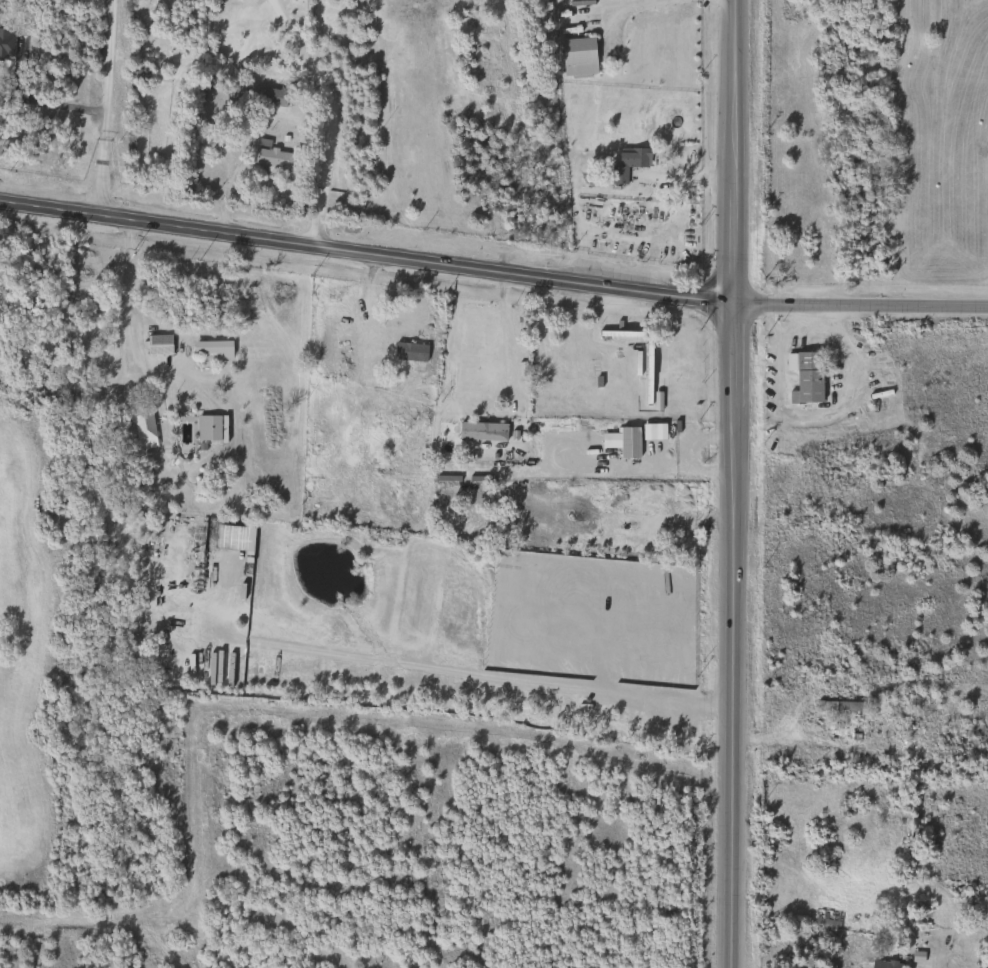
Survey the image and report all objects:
road: (630, 6)
road: (323, 35)
road: (298, 38)
building: (576, 58)
building: (268, 97)
road: (42, 104)
road: (102, 106)
road: (330, 158)
building: (274, 160)
building: (626, 163)
road: (227, 181)
road: (364, 252)
road: (859, 304)
building: (401, 312)
building: (532, 327)
road: (502, 338)
building: (156, 345)
building: (211, 349)
building: (407, 352)
road: (145, 365)
building: (803, 377)
road: (813, 415)
building: (140, 426)
building: (207, 428)
building: (479, 431)
building: (627, 442)
road: (731, 483)
building: (200, 488)
building: (650, 495)
building: (835, 706)
building: (837, 731)
road: (764, 739)
building: (912, 744)
building: (824, 919)
building: (884, 965)
road: (931, 966)

